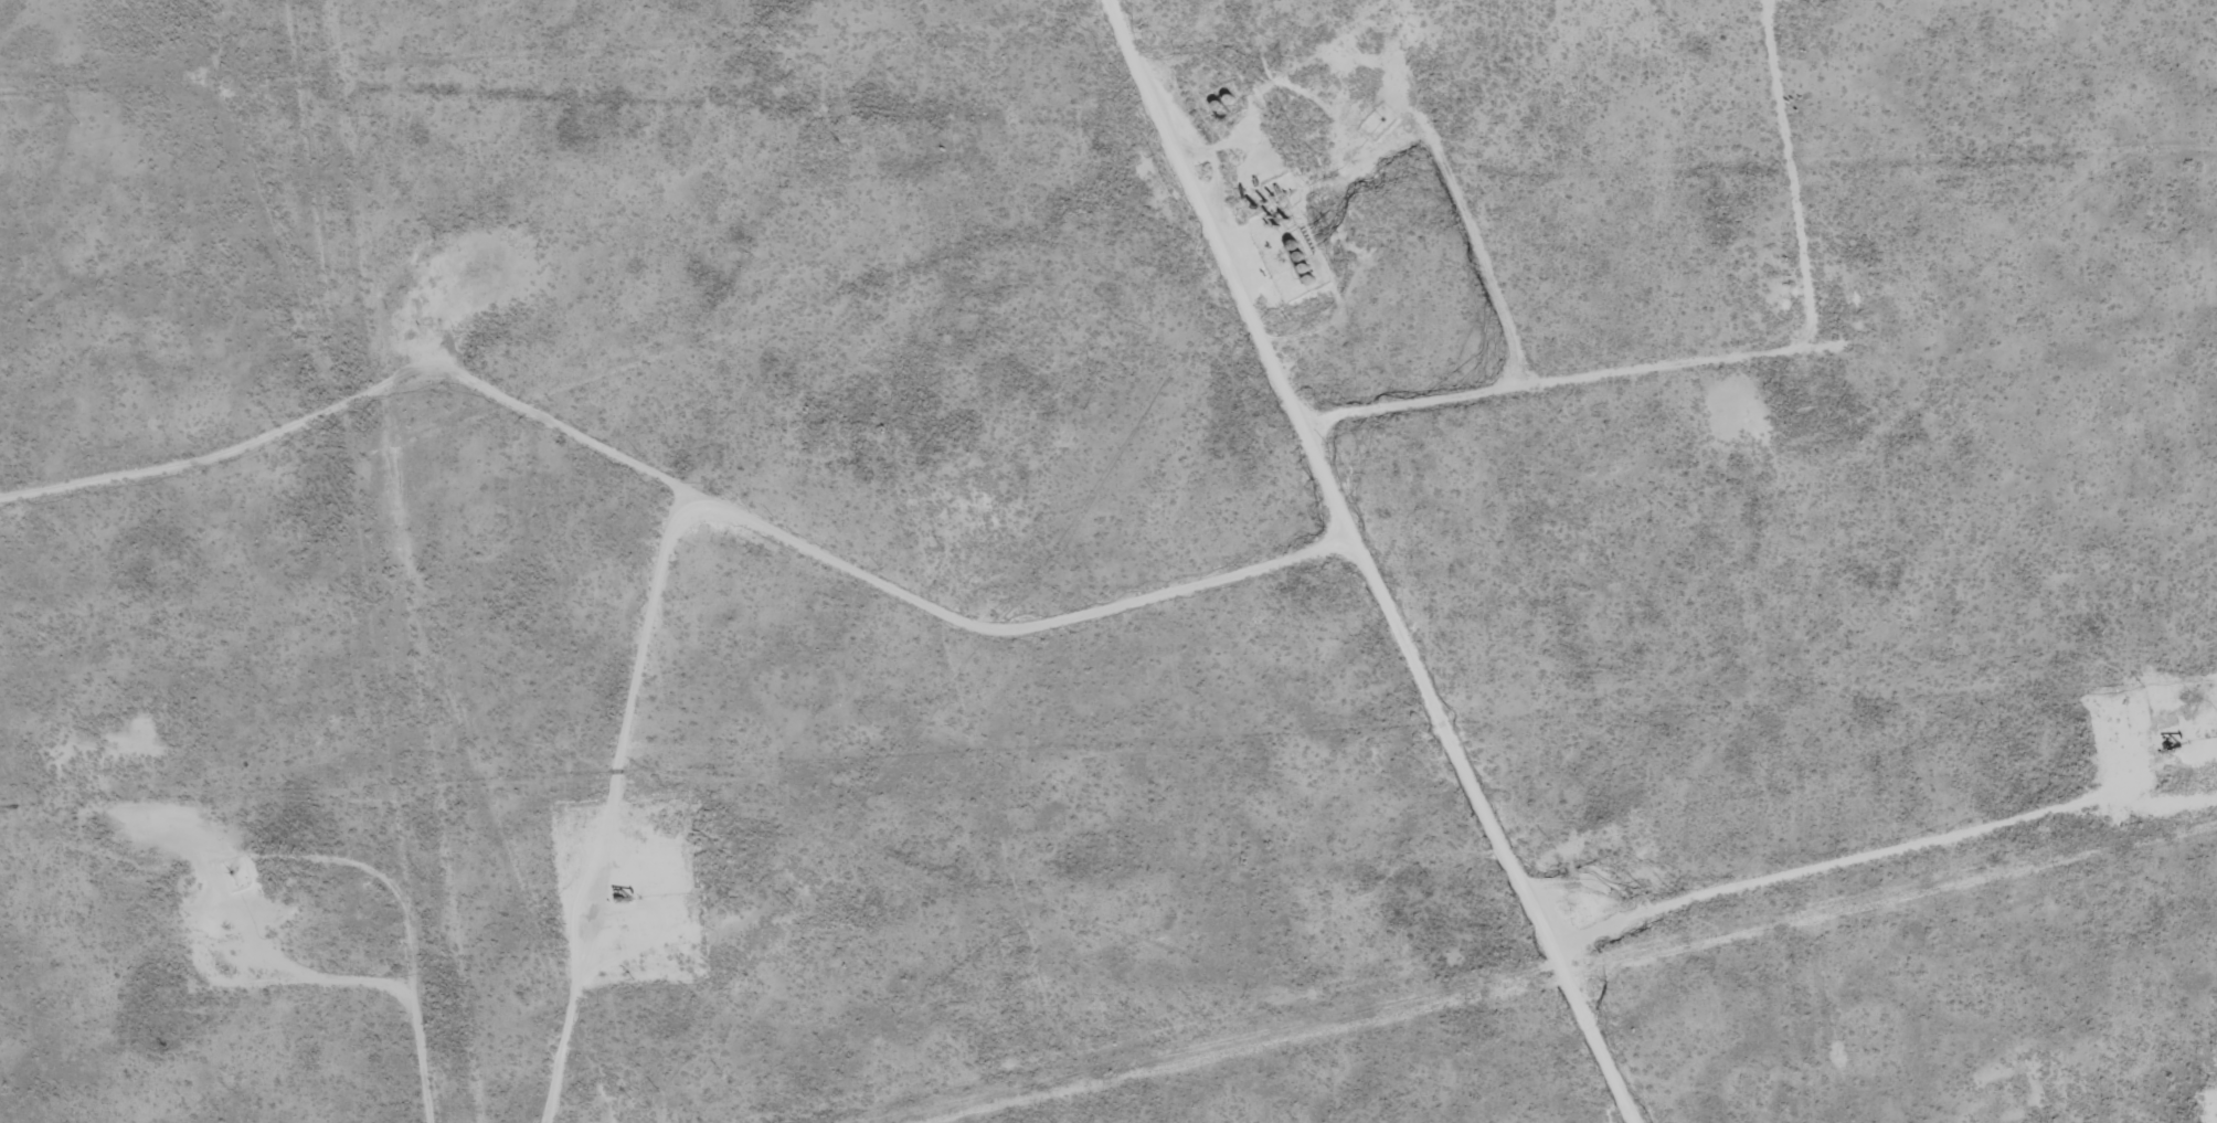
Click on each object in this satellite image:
road: (718, 512)
road: (1382, 572)

